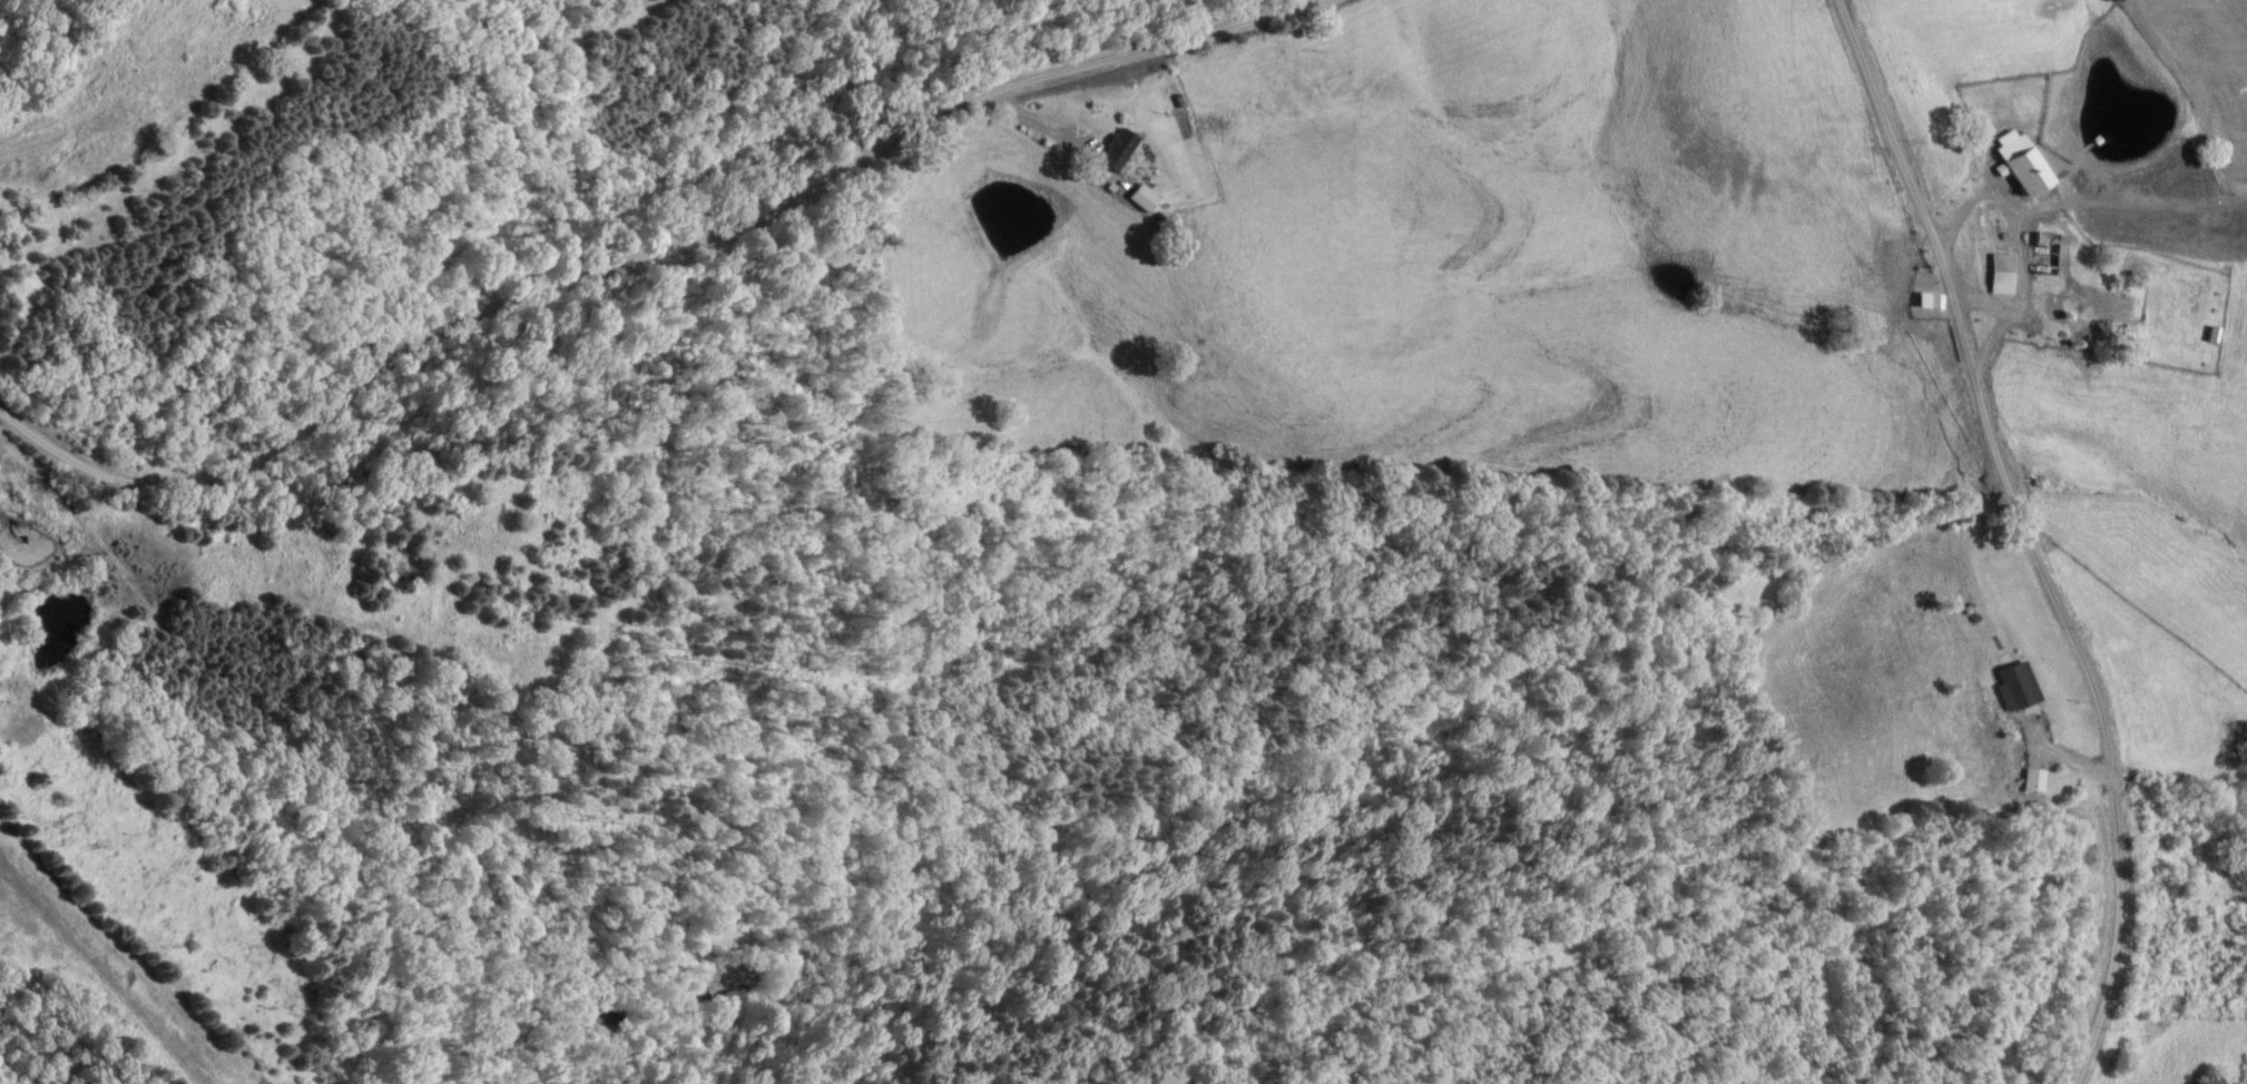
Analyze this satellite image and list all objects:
road: (1063, 140)
building: (1112, 151)
building: (2017, 162)
building: (1137, 198)
road: (2028, 211)
building: (2041, 255)
road: (656, 268)
building: (1998, 275)
building: (1925, 303)
crop: (1690, 324)
road: (2048, 522)
building: (2012, 687)
building: (2029, 781)
building: (2207, 1081)

